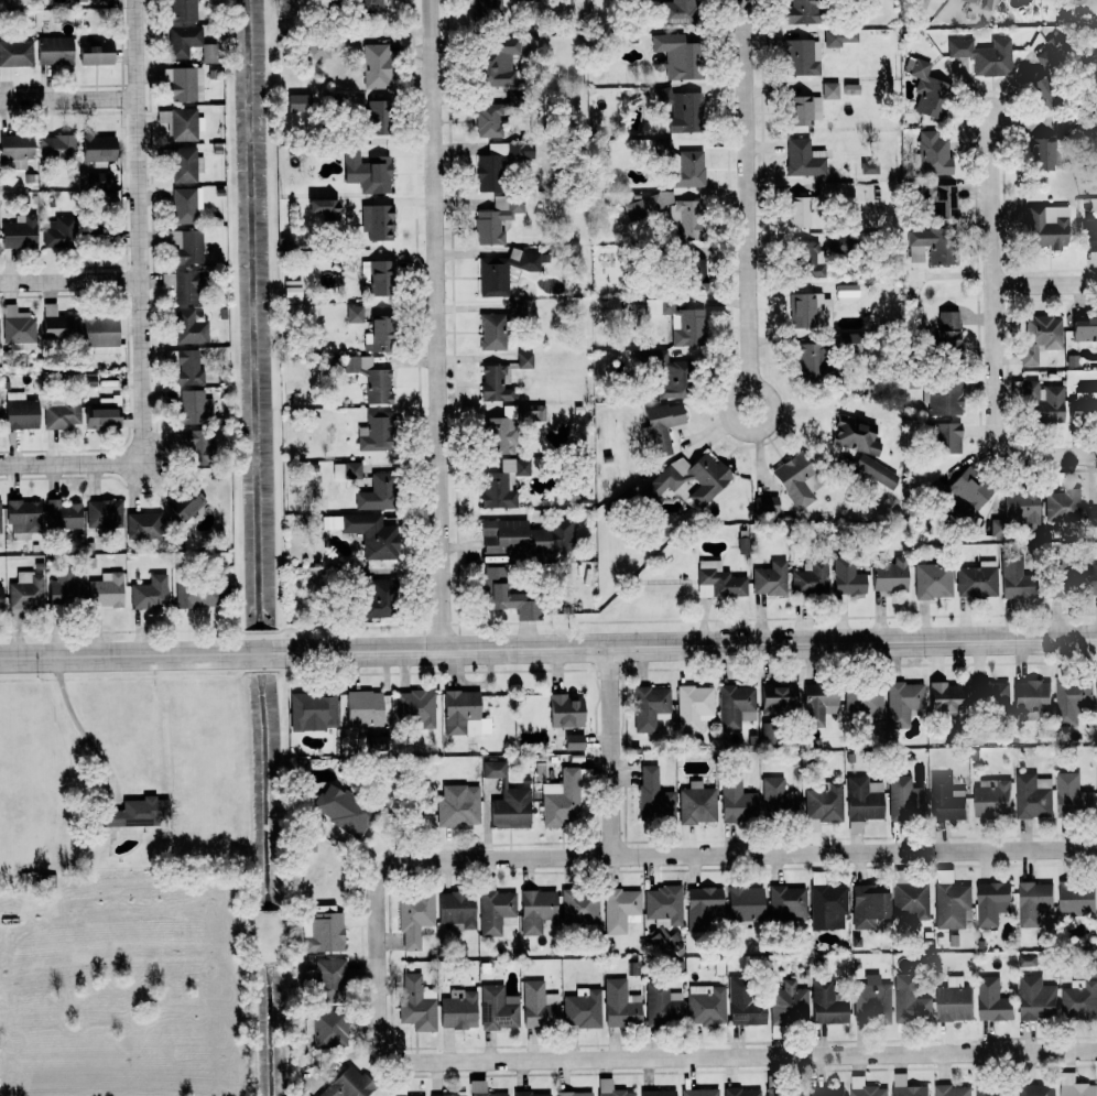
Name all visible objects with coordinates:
building: (534, 0)
building: (971, 1)
building: (987, 4)
building: (369, 7)
building: (489, 9)
building: (182, 10)
building: (677, 11)
building: (803, 12)
building: (841, 36)
building: (183, 40)
building: (317, 48)
building: (54, 50)
building: (96, 52)
building: (209, 52)
building: (677, 55)
building: (985, 55)
building: (802, 56)
building: (14, 57)
building: (497, 59)
building: (374, 65)
building: (184, 83)
building: (925, 86)
building: (1041, 89)
building: (829, 90)
road: (67, 100)
building: (297, 102)
building: (682, 109)
building: (803, 109)
building: (378, 116)
building: (488, 120)
building: (181, 123)
building: (1060, 127)
building: (56, 147)
building: (663, 147)
building: (98, 149)
building: (14, 151)
building: (934, 153)
building: (1041, 153)
building: (804, 158)
building: (499, 162)
building: (185, 164)
building: (869, 166)
building: (688, 169)
building: (367, 172)
building: (98, 180)
building: (835, 191)
road: (748, 193)
building: (942, 199)
building: (185, 204)
building: (645, 207)
building: (322, 208)
building: (801, 209)
building: (496, 218)
building: (686, 218)
building: (376, 220)
building: (1047, 226)
building: (59, 231)
road: (138, 231)
building: (19, 232)
building: (100, 234)
building: (1089, 237)
building: (839, 242)
building: (185, 245)
building: (930, 247)
building: (807, 261)
building: (502, 271)
building: (693, 273)
building: (377, 276)
road: (69, 281)
road: (1045, 282)
building: (182, 285)
building: (291, 291)
building: (846, 292)
building: (652, 306)
building: (811, 310)
building: (354, 313)
building: (57, 323)
road: (434, 324)
building: (18, 327)
building: (189, 327)
building: (688, 327)
building: (1044, 329)
building: (948, 332)
road: (993, 332)
building: (1085, 332)
building: (101, 335)
building: (377, 335)
building: (849, 343)
building: (811, 359)
building: (524, 360)
building: (189, 367)
building: (667, 377)
building: (370, 378)
building: (493, 383)
road: (752, 386)
building: (942, 395)
building: (1041, 400)
building: (194, 406)
building: (1084, 406)
building: (20, 411)
building: (62, 412)
building: (530, 413)
building: (101, 416)
building: (661, 426)
building: (374, 432)
building: (498, 434)
building: (855, 435)
building: (945, 437)
building: (199, 447)
road: (72, 463)
building: (875, 469)
building: (346, 470)
building: (710, 479)
building: (796, 480)
building: (502, 482)
building: (377, 492)
building: (964, 492)
building: (767, 504)
building: (1062, 506)
building: (189, 507)
building: (1023, 508)
building: (104, 513)
building: (63, 514)
building: (1090, 517)
building: (0, 518)
building: (23, 518)
building: (142, 524)
building: (371, 534)
building: (526, 538)
building: (742, 545)
building: (890, 575)
building: (847, 576)
building: (811, 577)
building: (770, 578)
building: (1015, 578)
building: (977, 579)
building: (1063, 579)
building: (1094, 579)
building: (718, 580)
building: (933, 580)
building: (65, 589)
building: (26, 590)
building: (105, 593)
building: (150, 593)
building: (195, 596)
building: (506, 596)
building: (377, 600)
building: (0, 603)
road: (547, 645)
building: (989, 694)
building: (1031, 695)
building: (945, 696)
building: (778, 697)
building: (1072, 699)
building: (864, 702)
building: (817, 703)
building: (903, 703)
building: (649, 706)
building: (694, 706)
building: (736, 706)
building: (416, 707)
building: (363, 708)
building: (313, 710)
building: (565, 710)
building: (464, 714)
road: (76, 724)
building: (767, 733)
building: (574, 741)
road: (610, 748)
building: (497, 768)
building: (1072, 794)
building: (1032, 795)
building: (653, 796)
building: (778, 796)
building: (905, 797)
building: (991, 797)
building: (562, 799)
building: (864, 799)
building: (947, 799)
building: (737, 802)
building: (824, 802)
building: (697, 804)
building: (458, 806)
building: (511, 807)
building: (341, 810)
building: (135, 812)
building: (813, 825)
road: (691, 850)
building: (1076, 898)
building: (991, 901)
building: (1033, 901)
building: (911, 902)
building: (788, 903)
building: (746, 904)
building: (952, 904)
building: (828, 905)
building: (869, 905)
building: (579, 907)
building: (702, 907)
building: (663, 908)
building: (457, 910)
building: (536, 910)
building: (621, 910)
building: (496, 911)
building: (415, 918)
building: (323, 933)
building: (1027, 959)
building: (325, 978)
building: (1035, 998)
building: (1079, 999)
building: (872, 1000)
building: (910, 1000)
building: (954, 1000)
building: (992, 1000)
building: (417, 1003)
building: (663, 1003)
building: (743, 1003)
building: (789, 1003)
building: (827, 1003)
building: (621, 1005)
building: (706, 1005)
building: (536, 1006)
building: (498, 1008)
building: (583, 1008)
building: (326, 1028)
road: (692, 1056)
building: (347, 1084)
building: (906, 1086)
building: (1076, 1086)
building: (865, 1087)
building: (481, 1089)
building: (1036, 1089)
building: (826, 1090)
building: (953, 1090)
building: (995, 1090)
building: (742, 1092)
building: (658, 1093)
building: (699, 1093)
building: (784, 1093)
building: (448, 1094)
building: (532, 1094)
building: (574, 1094)
building: (411, 1095)

